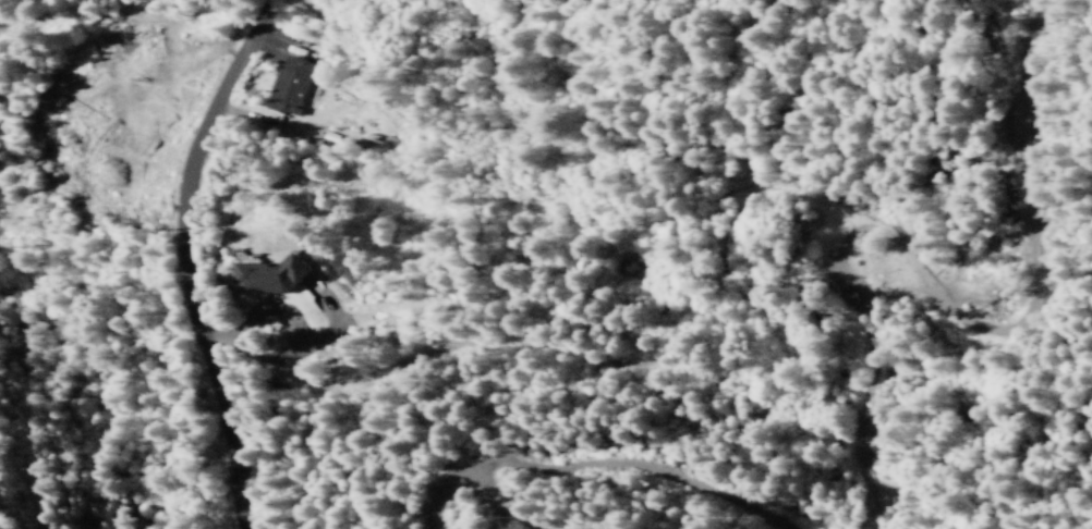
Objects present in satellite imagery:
building: (287, 85)
road: (194, 258)
building: (266, 275)
road: (523, 324)
road: (3, 419)
road: (5, 491)

